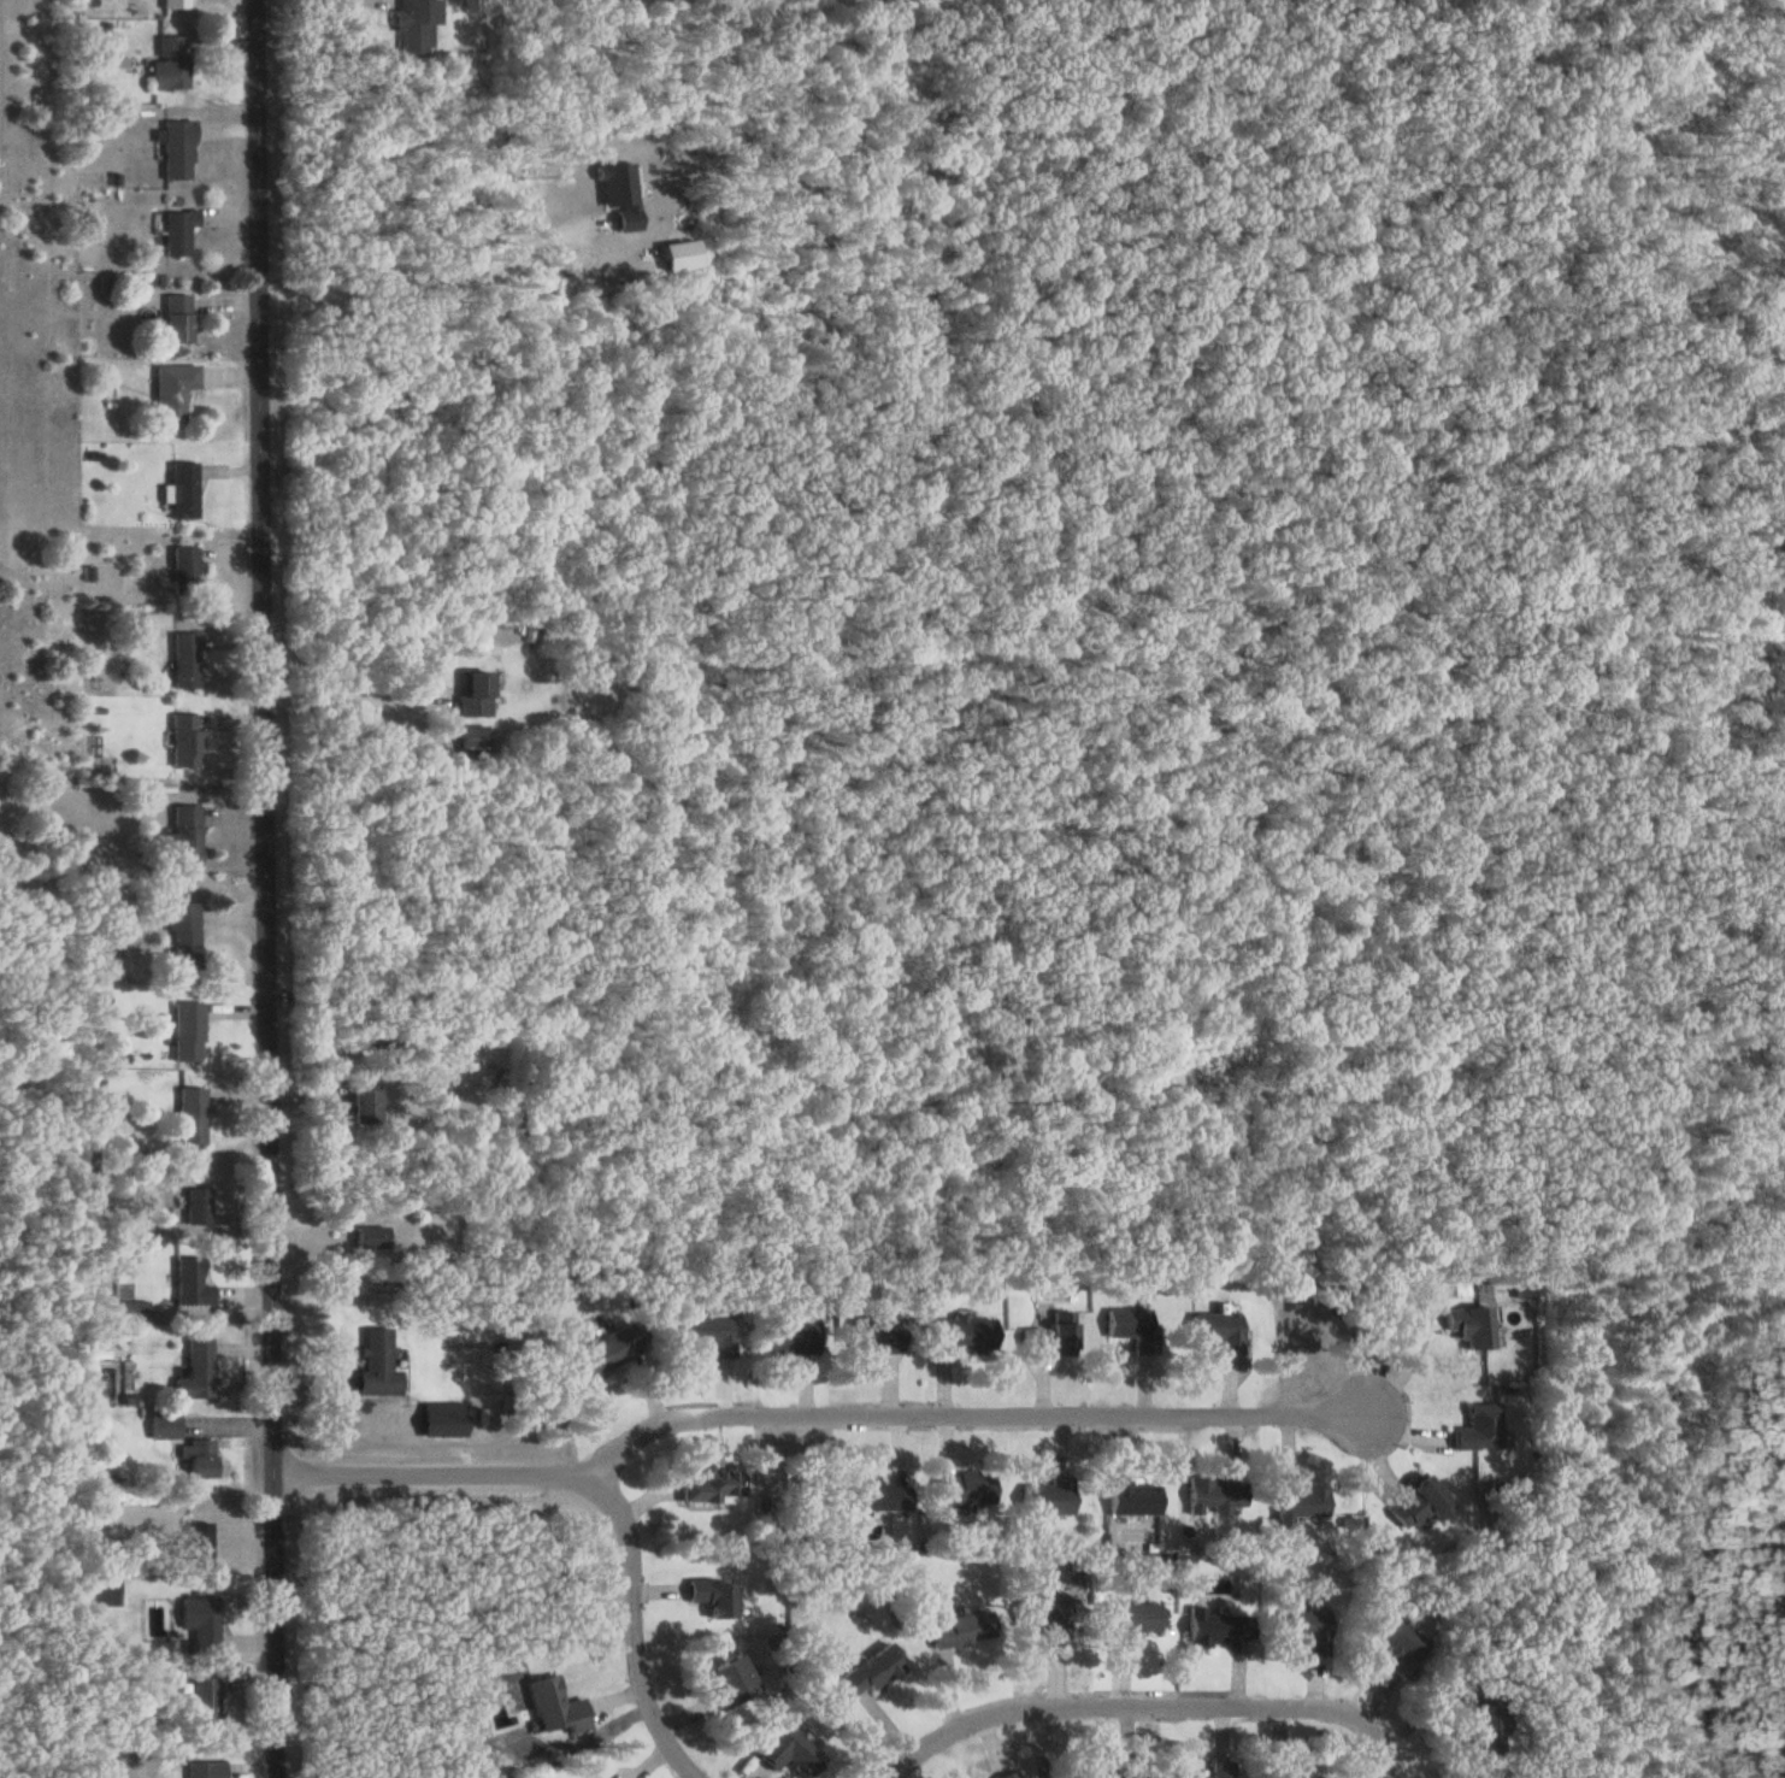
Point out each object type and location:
building: (172, 2)
building: (416, 24)
building: (167, 61)
building: (175, 148)
building: (176, 230)
road: (419, 288)
building: (175, 318)
building: (171, 391)
building: (181, 489)
building: (183, 566)
building: (183, 659)
road: (344, 690)
building: (472, 694)
building: (184, 738)
building: (470, 738)
building: (182, 832)
road: (260, 888)
building: (182, 935)
building: (185, 1031)
building: (360, 1102)
building: (188, 1114)
building: (194, 1206)
building: (366, 1237)
building: (1469, 1325)
building: (1130, 1327)
building: (1215, 1330)
building: (706, 1332)
building: (961, 1332)
building: (874, 1335)
building: (790, 1337)
building: (1045, 1337)
building: (603, 1349)
building: (375, 1364)
building: (193, 1368)
road: (802, 1415)
building: (440, 1419)
building: (160, 1425)
building: (1475, 1426)
building: (194, 1455)
building: (711, 1482)
building: (961, 1488)
building: (876, 1493)
building: (1210, 1493)
building: (1044, 1496)
building: (1127, 1496)
building: (1292, 1500)
building: (1414, 1503)
building: (195, 1542)
building: (709, 1594)
building: (1041, 1611)
building: (1127, 1618)
building: (198, 1620)
building: (1213, 1624)
building: (1303, 1624)
building: (958, 1627)
road: (629, 1630)
building: (1395, 1643)
building: (866, 1668)
building: (725, 1678)
building: (201, 1701)
building: (552, 1706)
road: (1145, 1706)
building: (1481, 1720)
building: (784, 1748)
building: (201, 1768)
building: (1118, 1768)
building: (1212, 1770)
building: (1277, 1773)
building: (1003, 1774)

